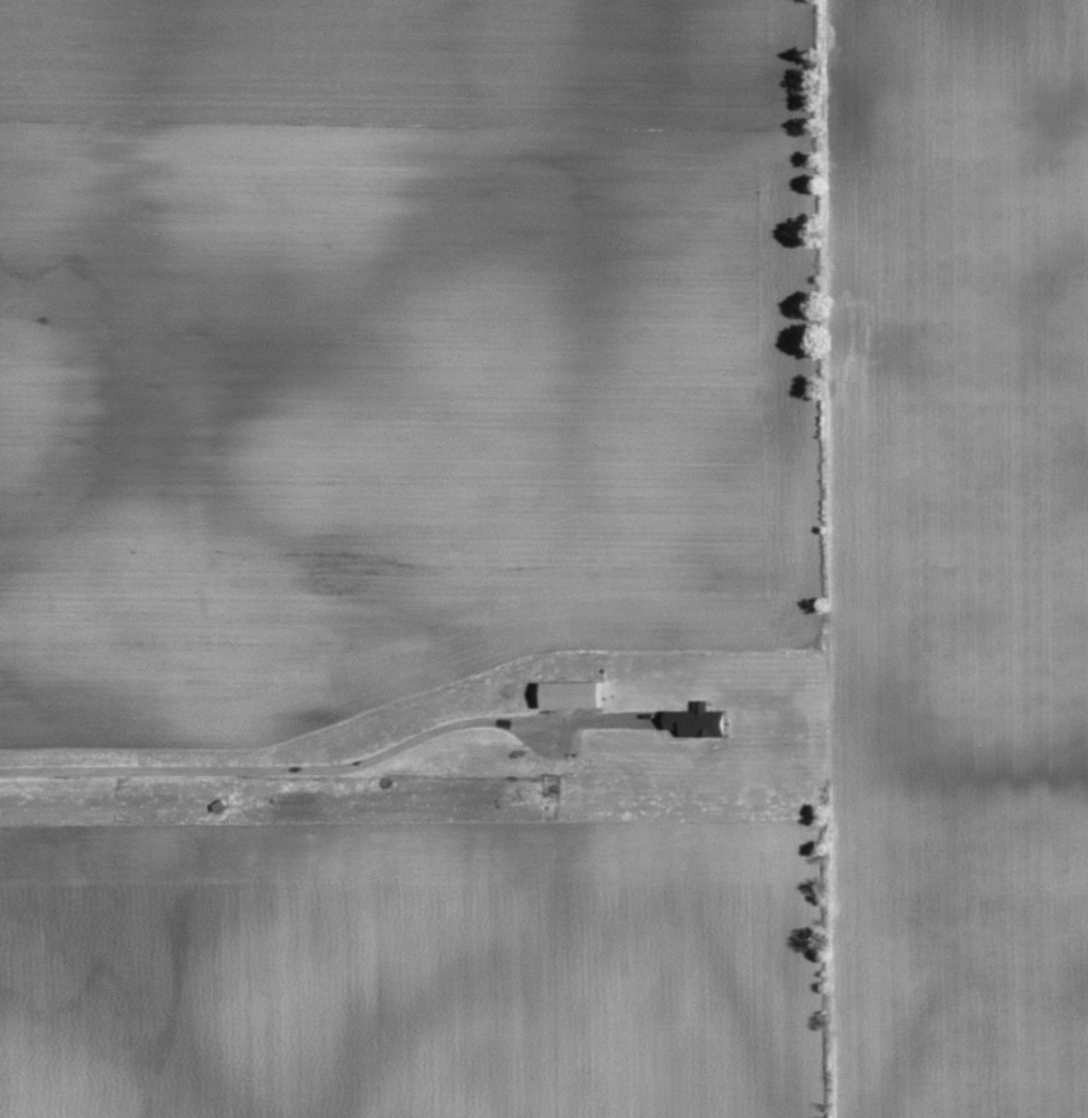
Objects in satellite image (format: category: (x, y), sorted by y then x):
building: (575, 694)
building: (701, 720)
road: (270, 768)

